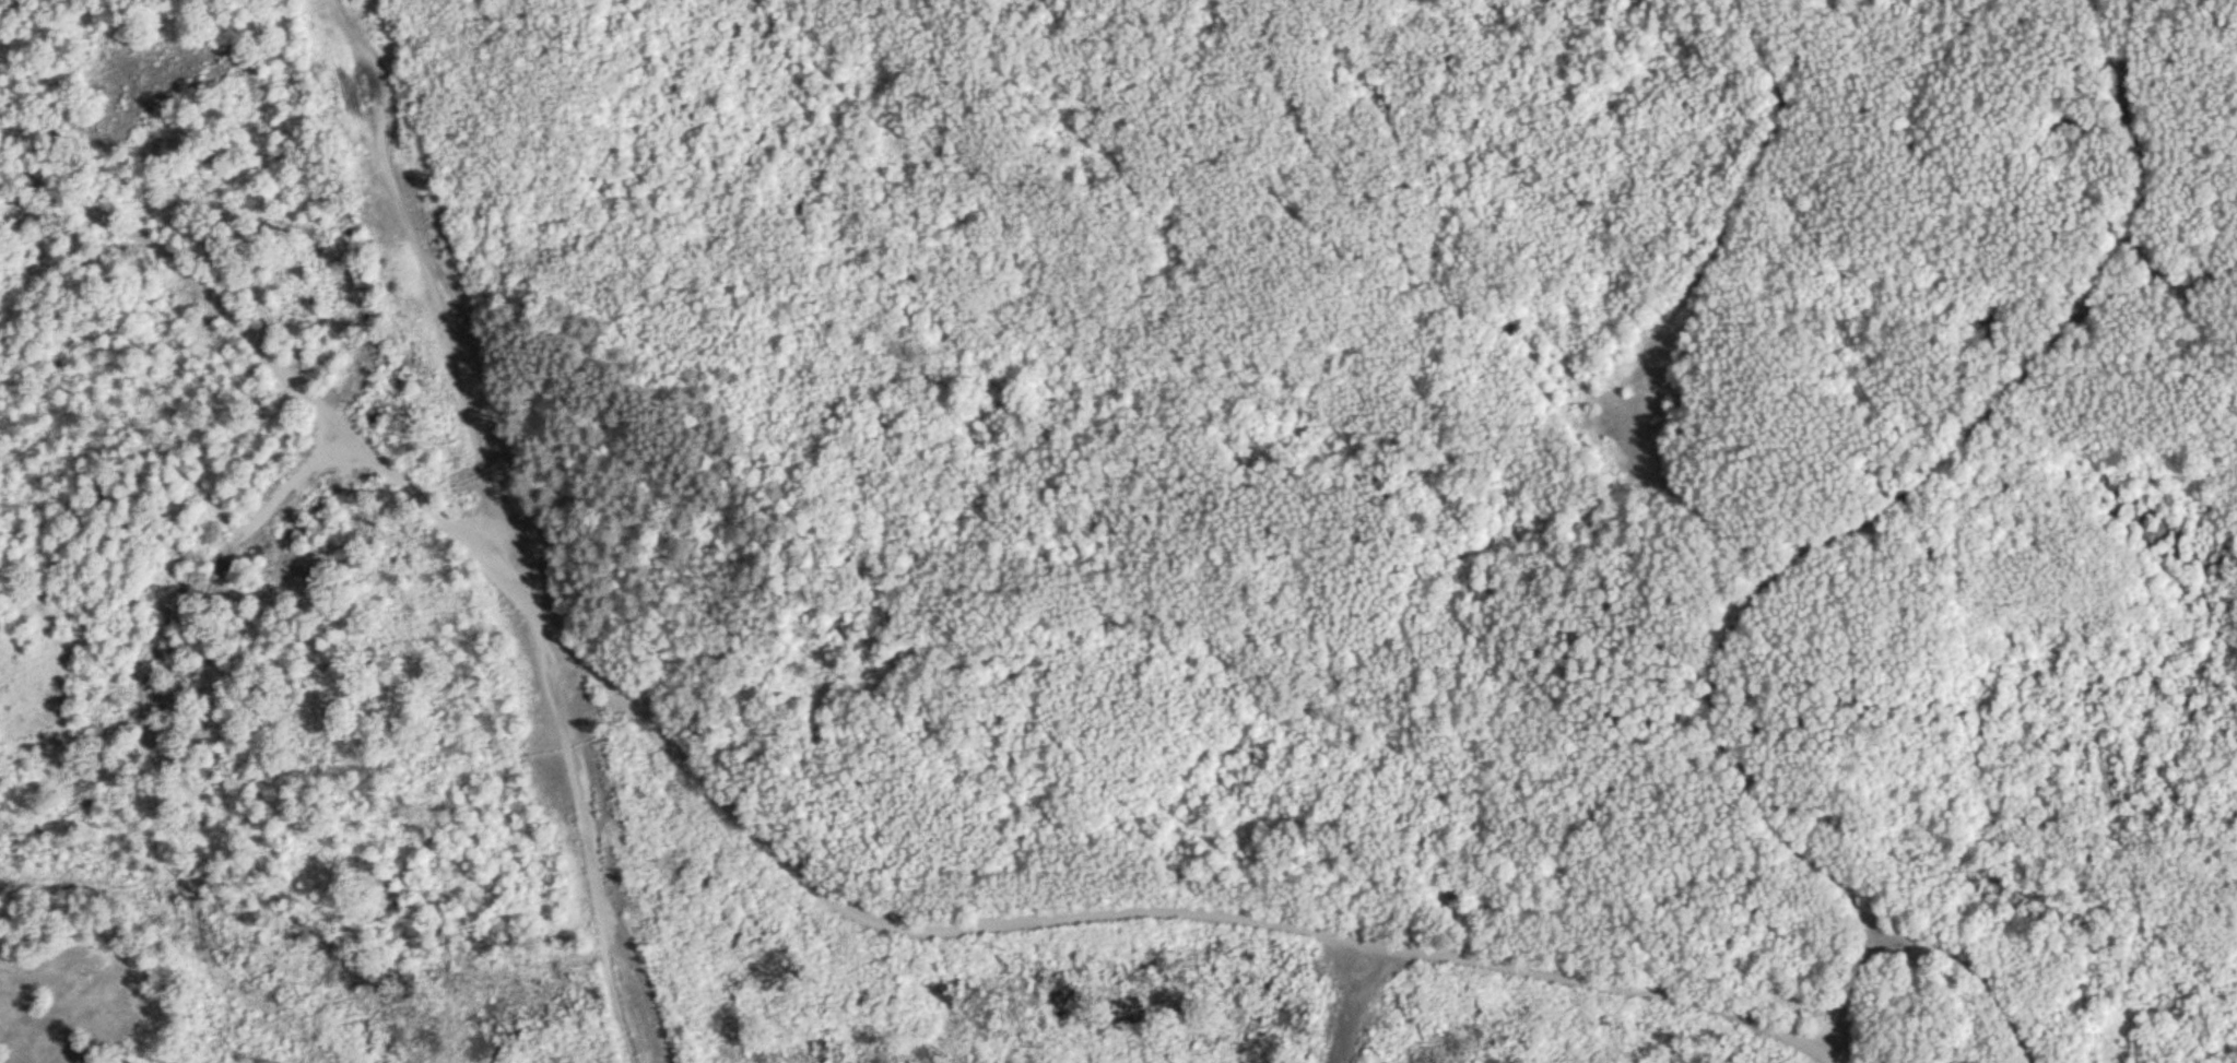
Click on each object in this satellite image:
road: (439, 299)
road: (1852, 534)
road: (574, 831)
road: (798, 872)

